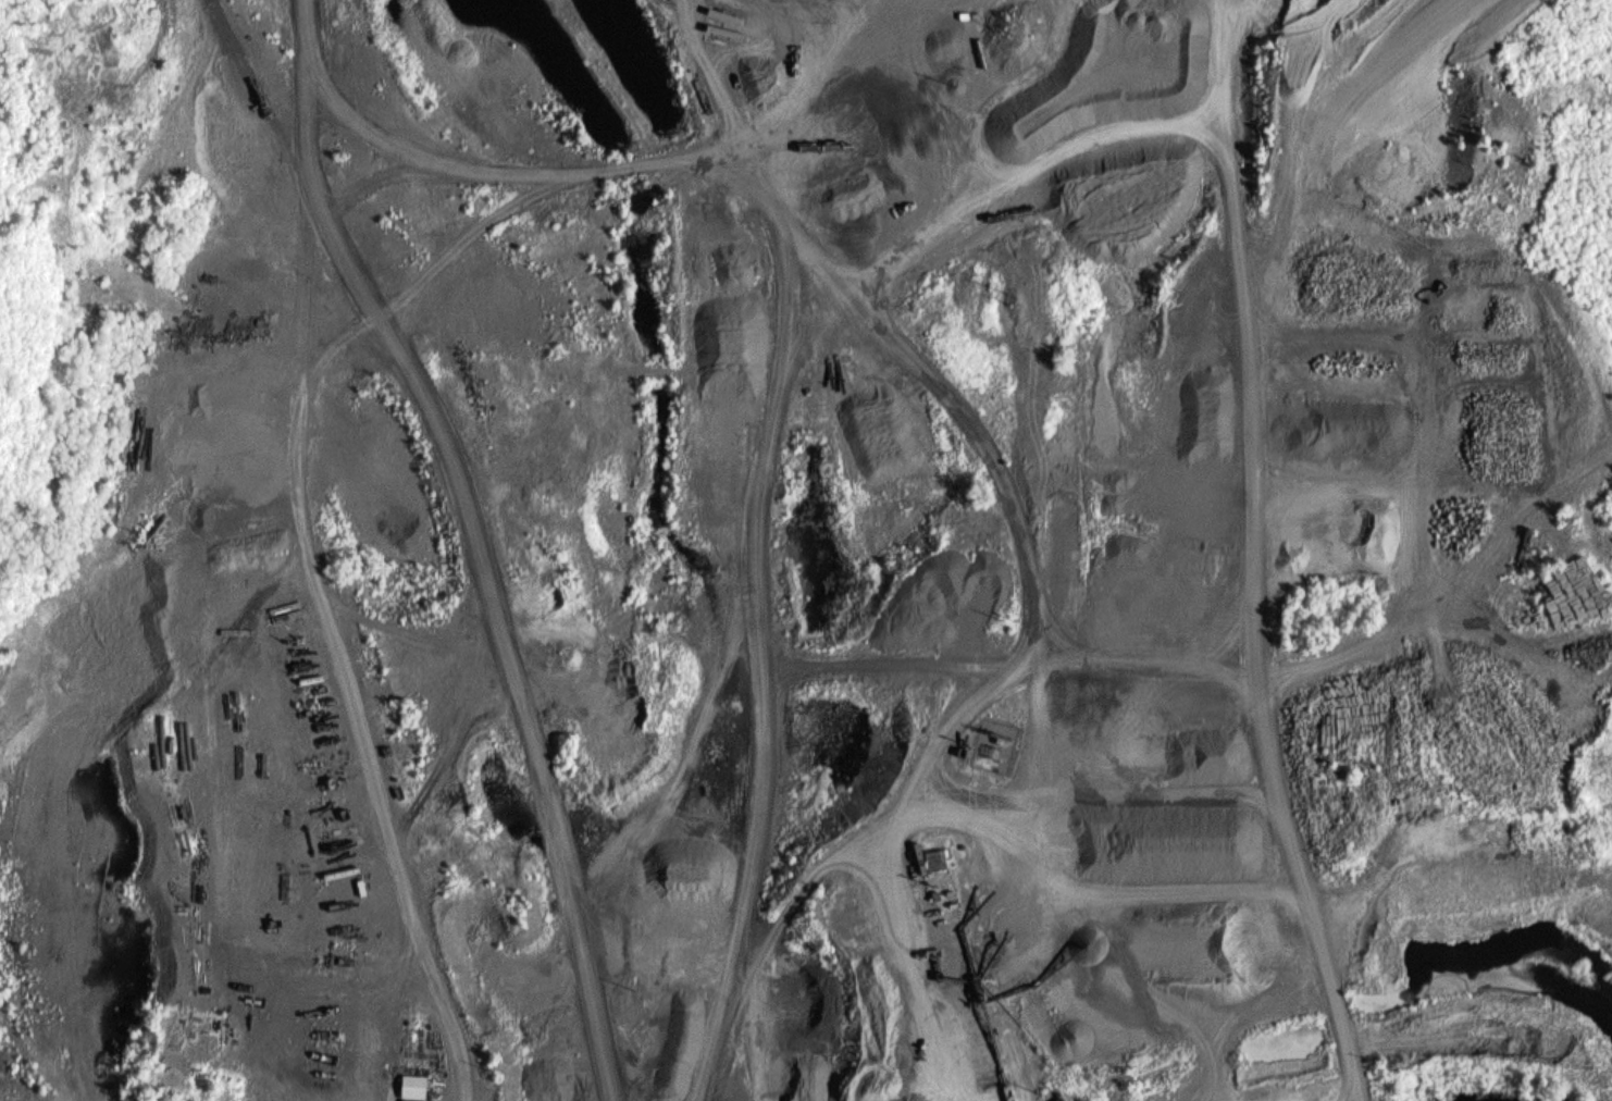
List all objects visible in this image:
road: (246, 89)
road: (656, 157)
road: (757, 491)
road: (1435, 573)
building: (1573, 593)
road: (475, 632)
road: (1187, 682)
building: (893, 704)
building: (935, 858)
road: (766, 859)
road: (1196, 890)
road: (1326, 998)
building: (410, 1086)

